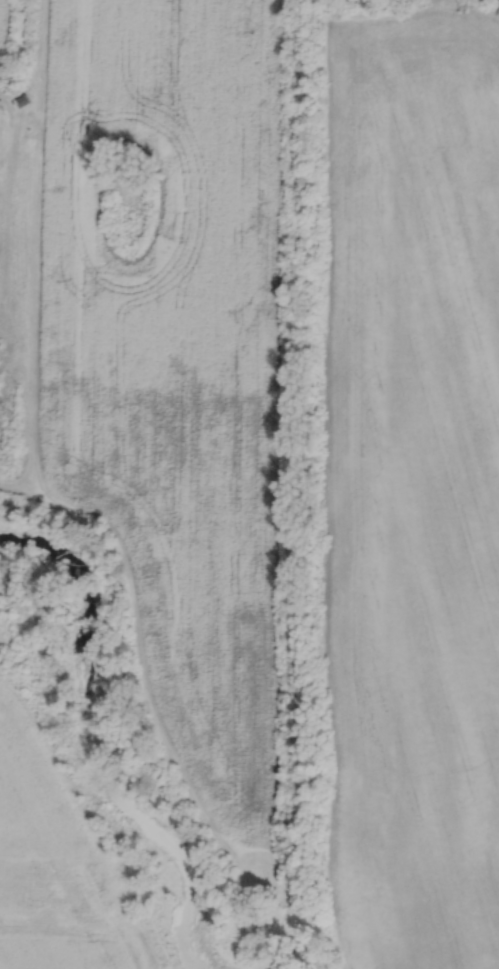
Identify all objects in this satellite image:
river: (88, 746)

